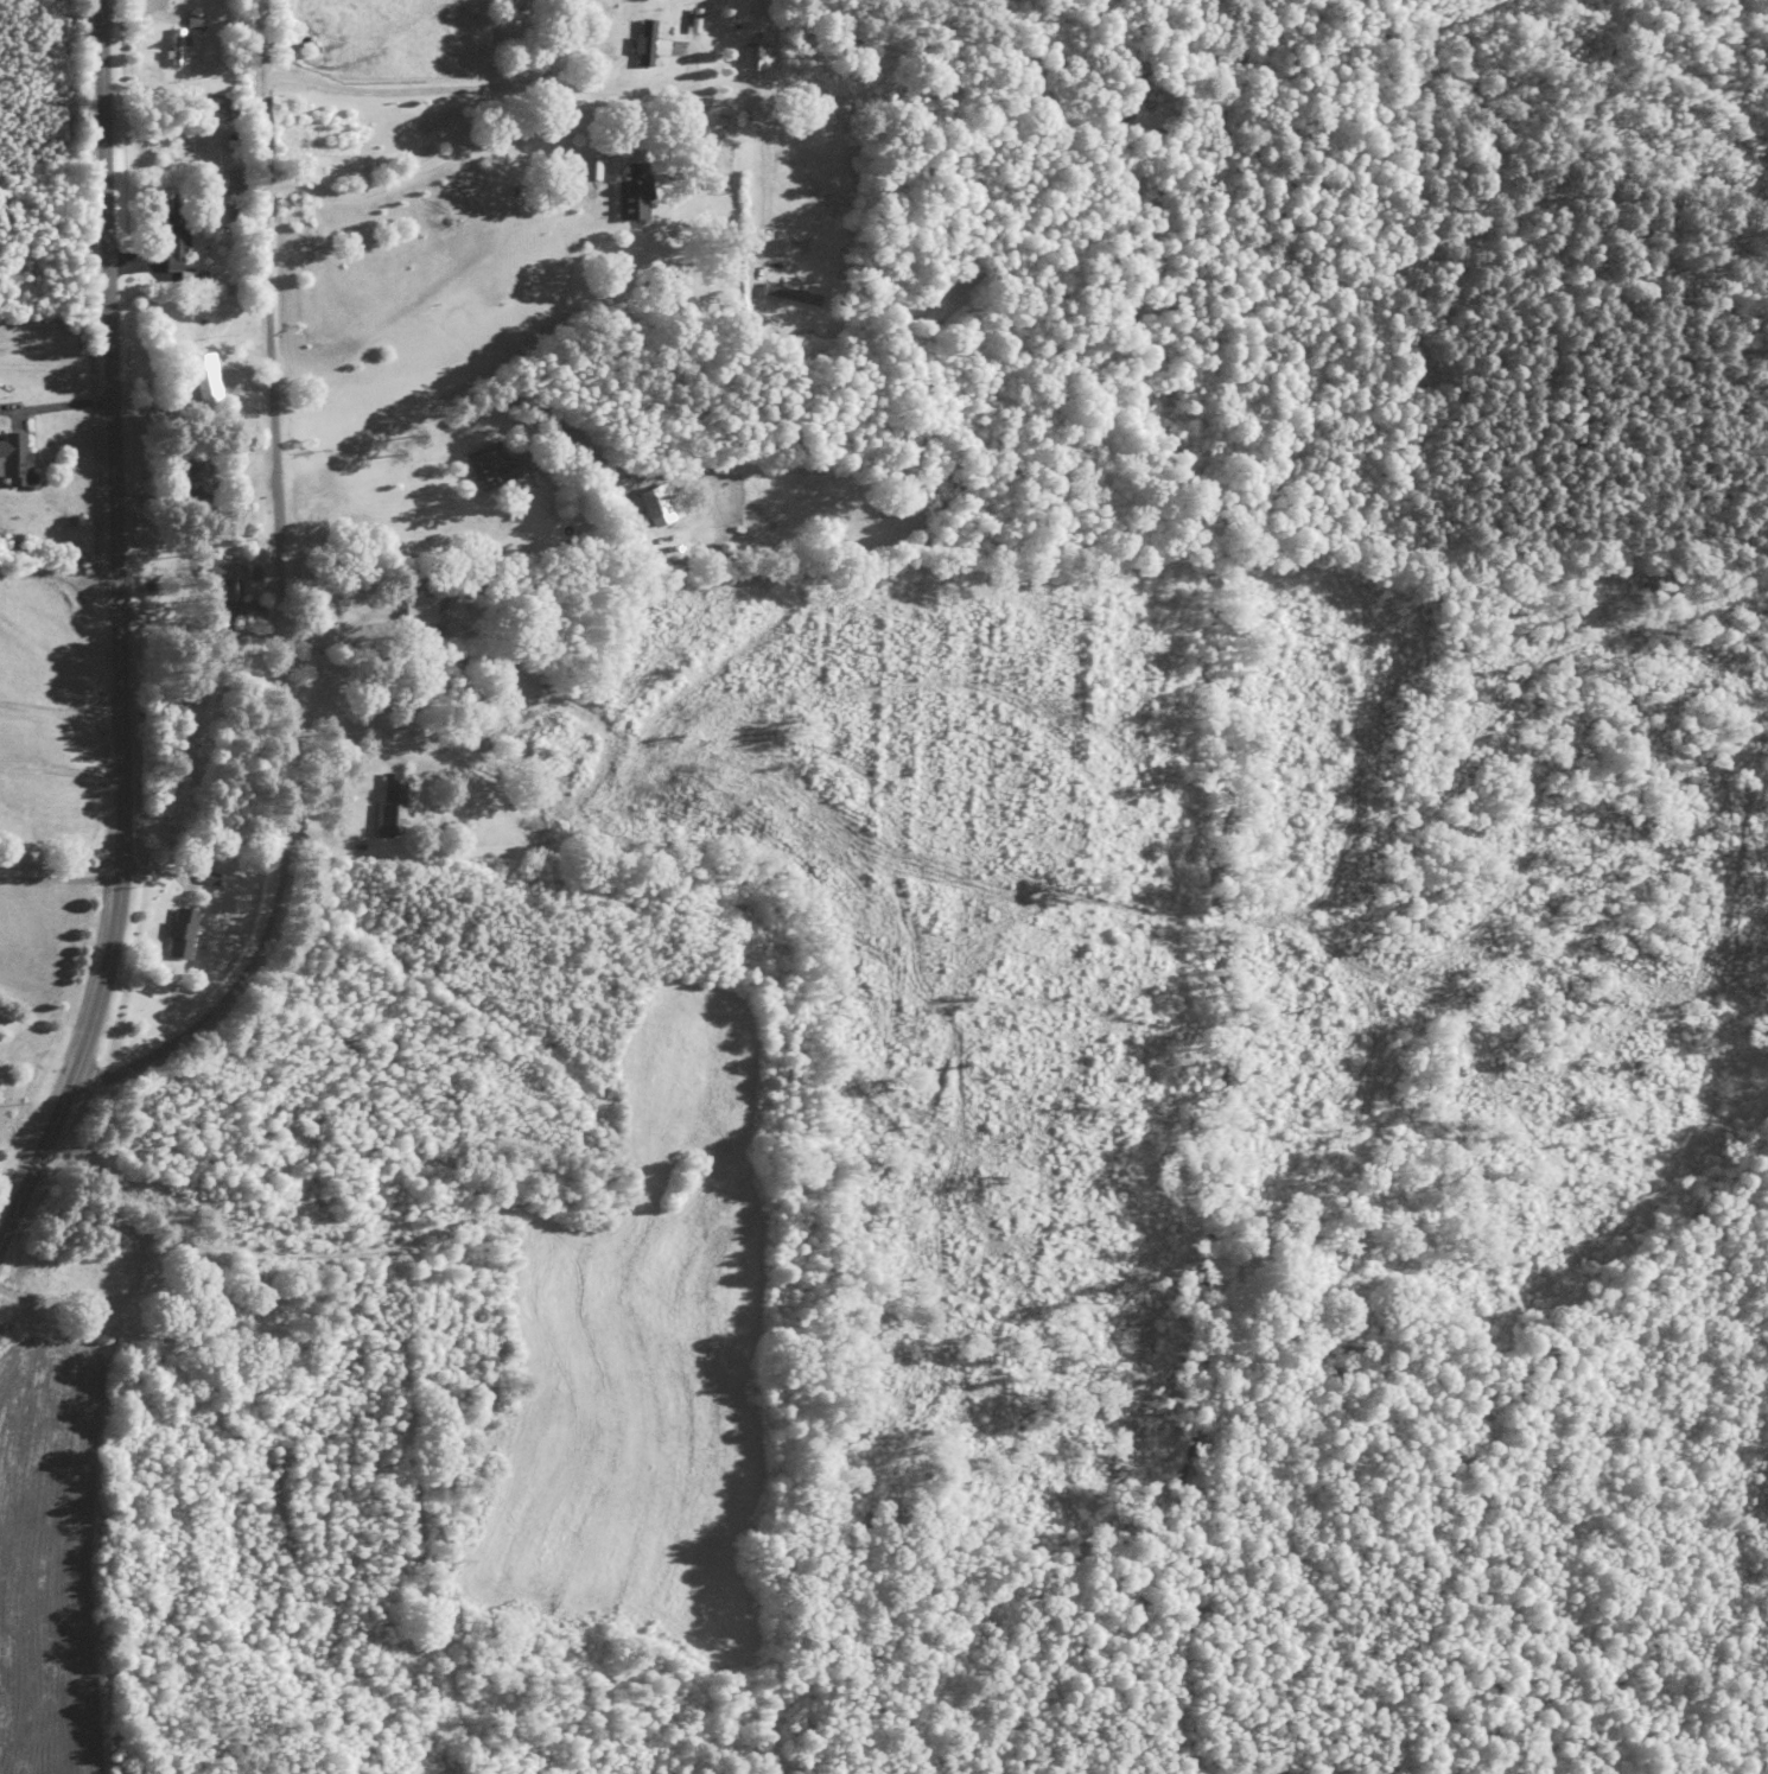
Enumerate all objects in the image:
building: (647, 47)
building: (759, 59)
building: (236, 184)
building: (636, 195)
building: (177, 235)
road: (628, 252)
road: (1667, 348)
building: (208, 382)
road: (276, 392)
building: (15, 457)
building: (497, 468)
building: (198, 479)
building: (659, 508)
building: (225, 574)
road: (76, 580)
building: (422, 617)
building: (393, 807)
road: (483, 884)
building: (183, 935)

